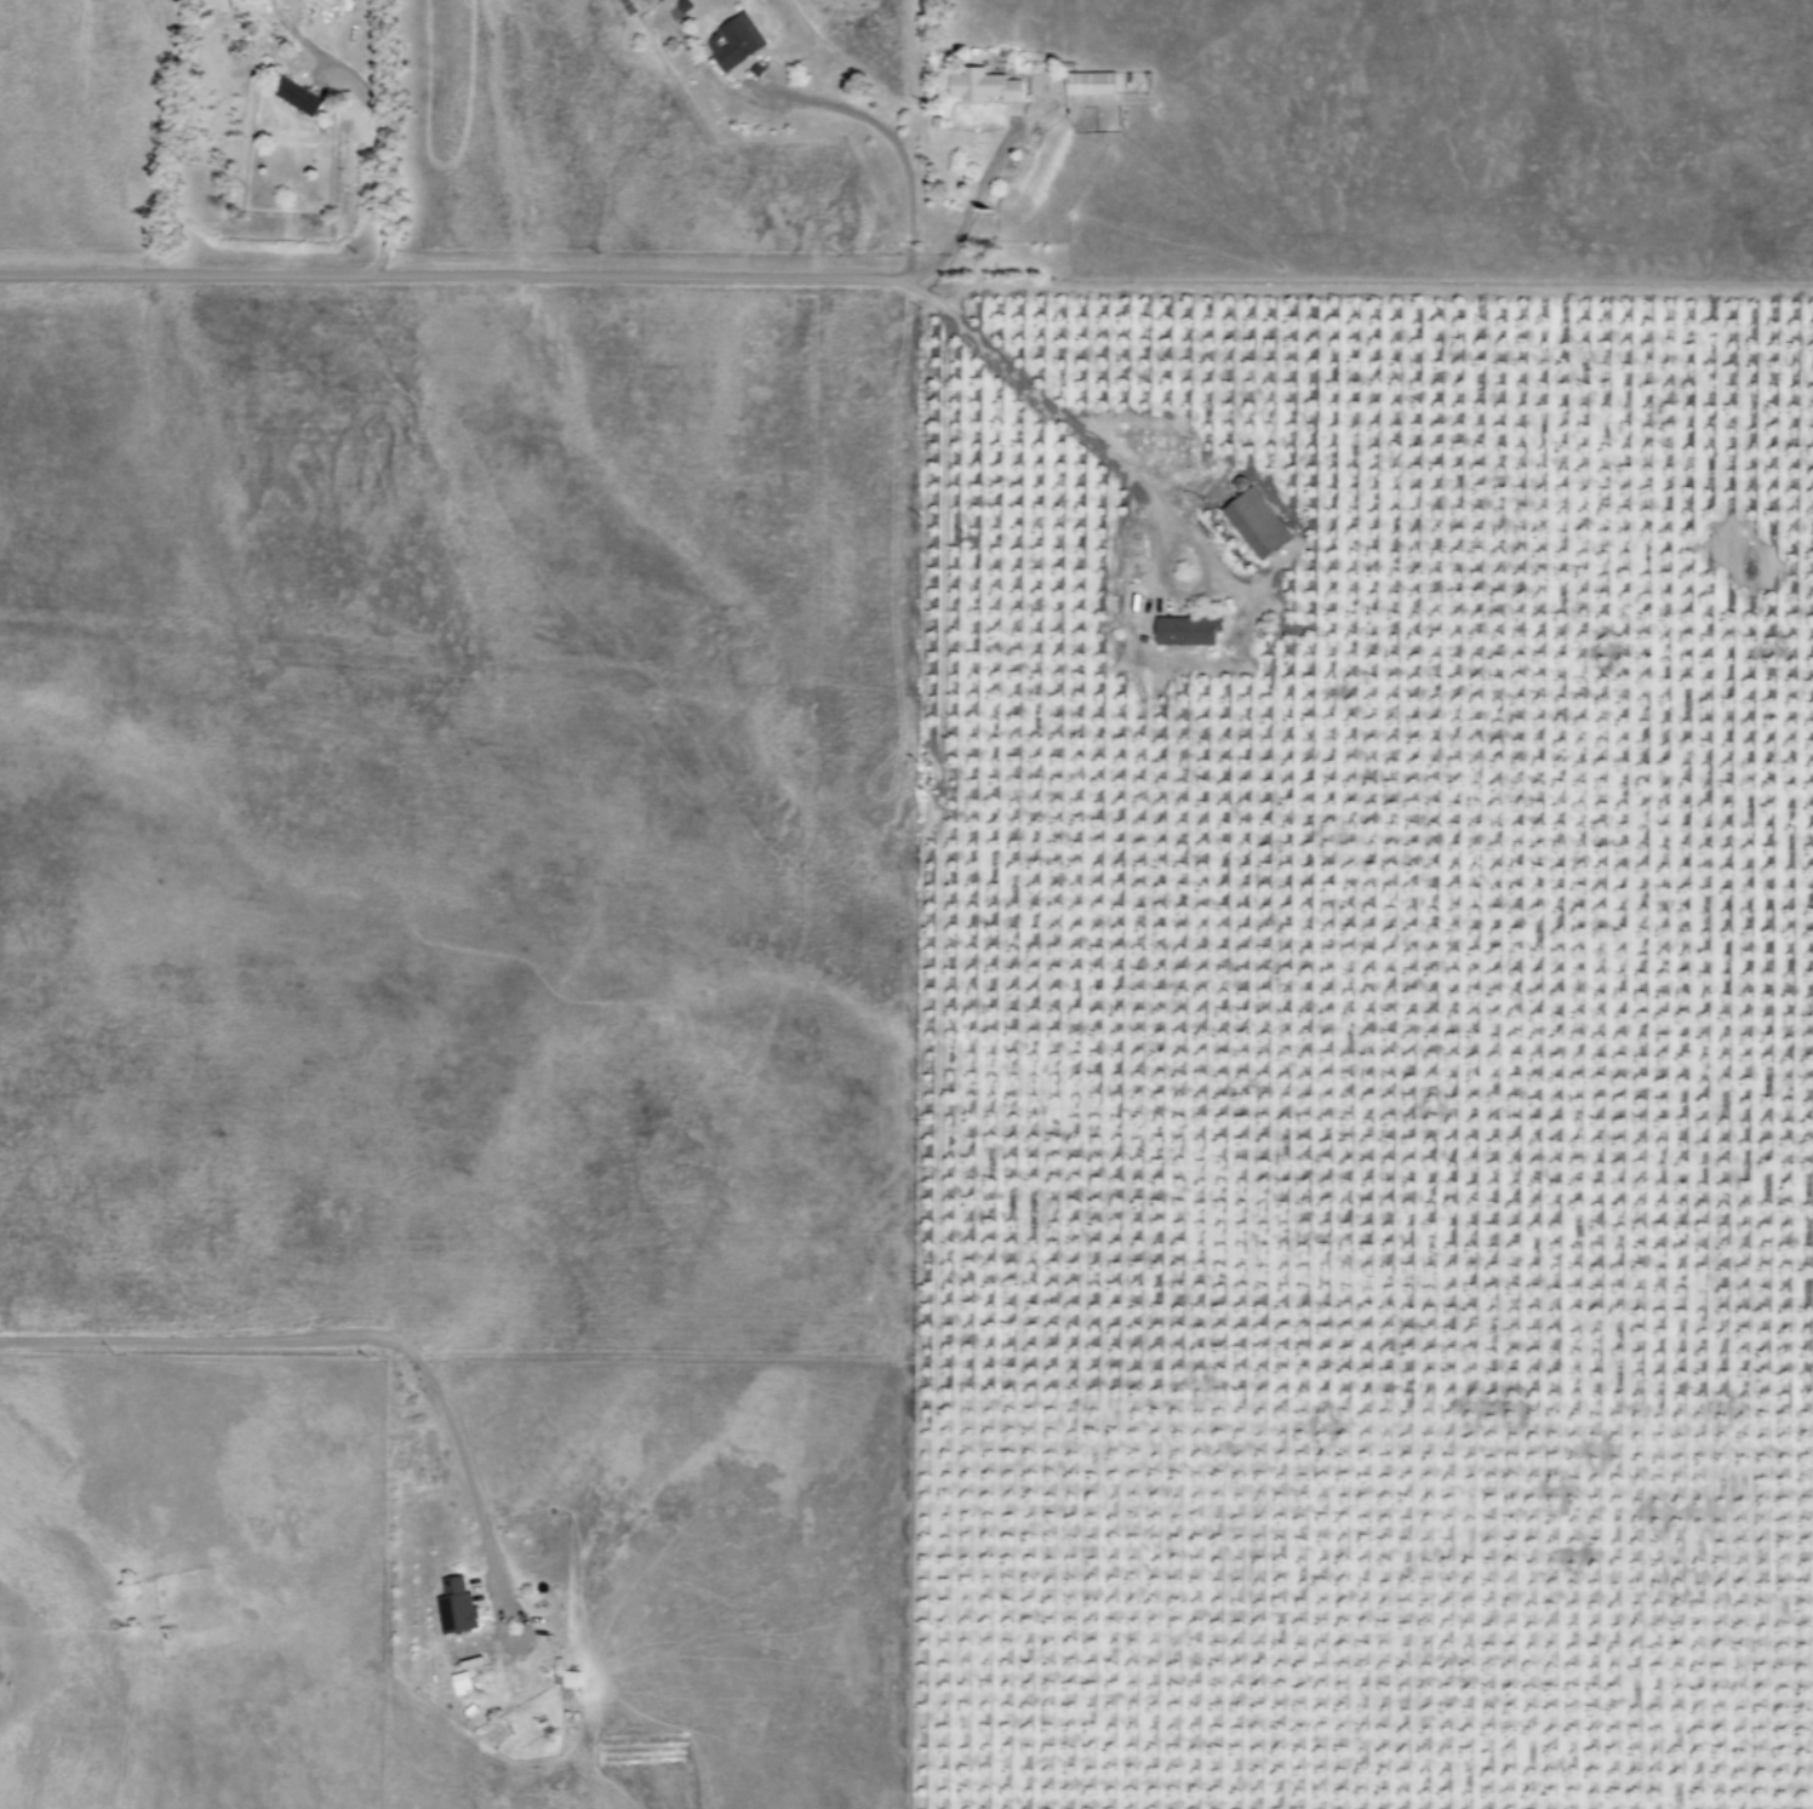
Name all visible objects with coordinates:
building: (674, 7)
building: (737, 41)
building: (1089, 82)
building: (985, 85)
building: (299, 98)
road: (886, 139)
road: (378, 164)
road: (450, 275)
building: (1256, 523)
building: (1186, 630)
road: (193, 1340)
road: (476, 1513)
building: (456, 1607)
building: (568, 1679)
building: (459, 1683)

